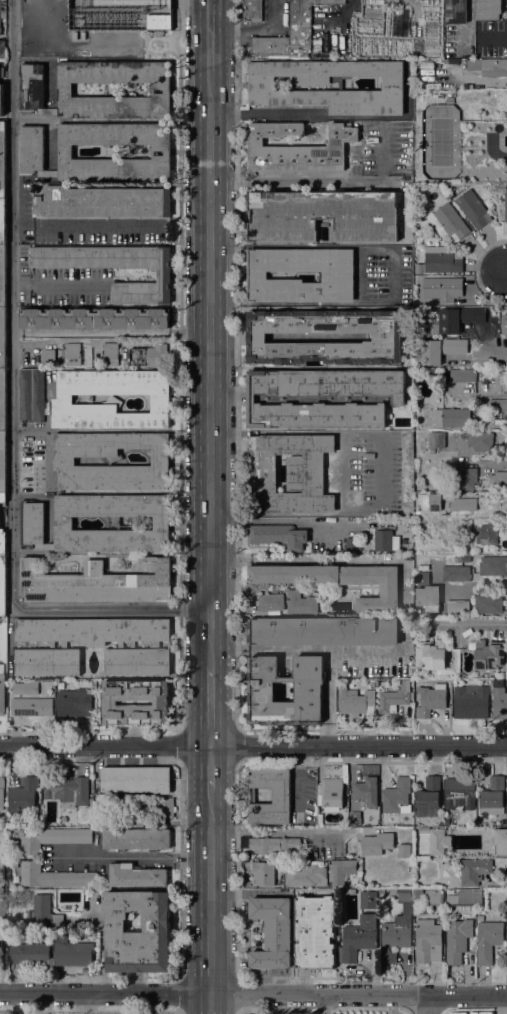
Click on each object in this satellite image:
building: (489, 9)
building: (252, 11)
building: (457, 11)
power substation: (125, 15)
building: (0, 17)
building: (303, 21)
building: (159, 22)
road: (255, 30)
building: (269, 46)
building: (2, 48)
building: (489, 67)
building: (1, 72)
building: (31, 87)
building: (262, 89)
building: (65, 91)
building: (1, 100)
building: (450, 100)
building: (48, 111)
road: (267, 115)
building: (298, 148)
building: (31, 149)
building: (115, 152)
building: (3, 160)
building: (48, 173)
building: (103, 202)
building: (473, 208)
building: (501, 208)
building: (323, 216)
building: (3, 222)
building: (448, 222)
building: (326, 242)
building: (442, 259)
building: (3, 261)
road: (506, 270)
road: (393, 273)
building: (164, 275)
building: (338, 275)
building: (444, 288)
building: (2, 292)
building: (97, 318)
building: (455, 319)
building: (505, 324)
road: (113, 332)
road: (212, 333)
building: (387, 337)
building: (3, 338)
building: (441, 349)
building: (73, 354)
building: (110, 354)
building: (148, 355)
building: (53, 357)
road: (494, 357)
building: (466, 375)
building: (499, 382)
building: (32, 395)
building: (323, 398)
building: (111, 399)
building: (3, 400)
road: (15, 400)
building: (498, 405)
building: (452, 417)
road: (277, 432)
building: (464, 435)
building: (436, 440)
building: (480, 441)
building: (111, 461)
building: (3, 462)
road: (489, 463)
road: (381, 471)
road: (341, 472)
building: (289, 473)
building: (466, 478)
building: (498, 481)
building: (3, 497)
building: (429, 502)
building: (463, 504)
road: (278, 513)
building: (32, 522)
building: (113, 522)
building: (410, 523)
building: (487, 534)
building: (279, 536)
building: (386, 541)
building: (3, 543)
building: (352, 544)
building: (44, 546)
building: (457, 559)
building: (465, 559)
building: (423, 564)
building: (493, 565)
building: (456, 573)
building: (422, 578)
building: (340, 581)
building: (98, 582)
road: (477, 584)
building: (3, 585)
building: (428, 599)
building: (301, 602)
building: (488, 603)
building: (270, 604)
building: (456, 606)
road: (471, 624)
building: (324, 631)
building: (155, 647)
road: (321, 651)
building: (431, 655)
building: (489, 655)
building: (89, 683)
building: (372, 683)
building: (25, 688)
building: (2, 689)
building: (309, 694)
road: (328, 698)
building: (393, 698)
building: (431, 699)
building: (355, 701)
building: (471, 701)
building: (75, 702)
building: (162, 703)
building: (499, 703)
road: (213, 705)
building: (31, 706)
road: (253, 745)
road: (214, 767)
building: (137, 779)
building: (346, 790)
building: (367, 790)
building: (68, 791)
building: (2, 792)
building: (331, 793)
building: (429, 793)
building: (460, 793)
building: (24, 795)
building: (281, 796)
building: (398, 797)
building: (493, 797)
building: (346, 802)
building: (164, 807)
building: (506, 809)
building: (2, 816)
building: (355, 818)
building: (320, 819)
building: (136, 822)
road: (260, 831)
building: (498, 834)
building: (53, 838)
building: (136, 839)
building: (438, 841)
building: (377, 843)
building: (274, 844)
building: (405, 851)
road: (132, 858)
building: (2, 868)
building: (342, 870)
building: (472, 871)
building: (264, 873)
building: (137, 875)
building: (54, 876)
building: (306, 876)
road: (497, 884)
building: (392, 892)
building: (434, 896)
building: (465, 898)
building: (368, 900)
road: (214, 902)
building: (416, 911)
building: (45, 912)
building: (480, 918)
building: (399, 926)
building: (158, 929)
building: (273, 932)
building: (315, 932)
building: (359, 938)
building: (458, 939)
building: (489, 940)
building: (428, 941)
building: (1, 948)
building: (72, 951)
building: (30, 953)
road: (253, 991)
road: (90, 1002)
road: (323, 1002)
road: (426, 1002)
road: (135, 1010)
road: (239, 1011)

